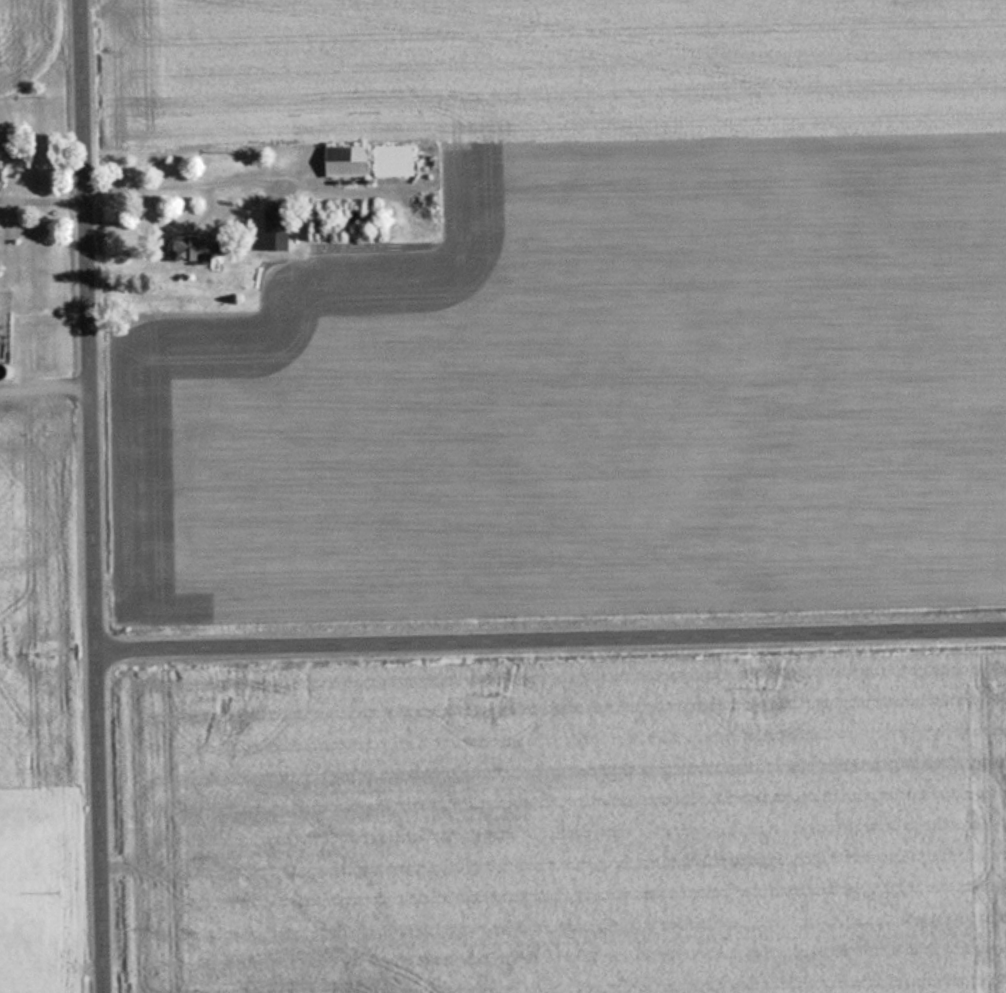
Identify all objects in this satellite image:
building: (351, 161)
building: (396, 161)
building: (280, 229)
building: (202, 249)
road: (100, 496)
road: (555, 634)

